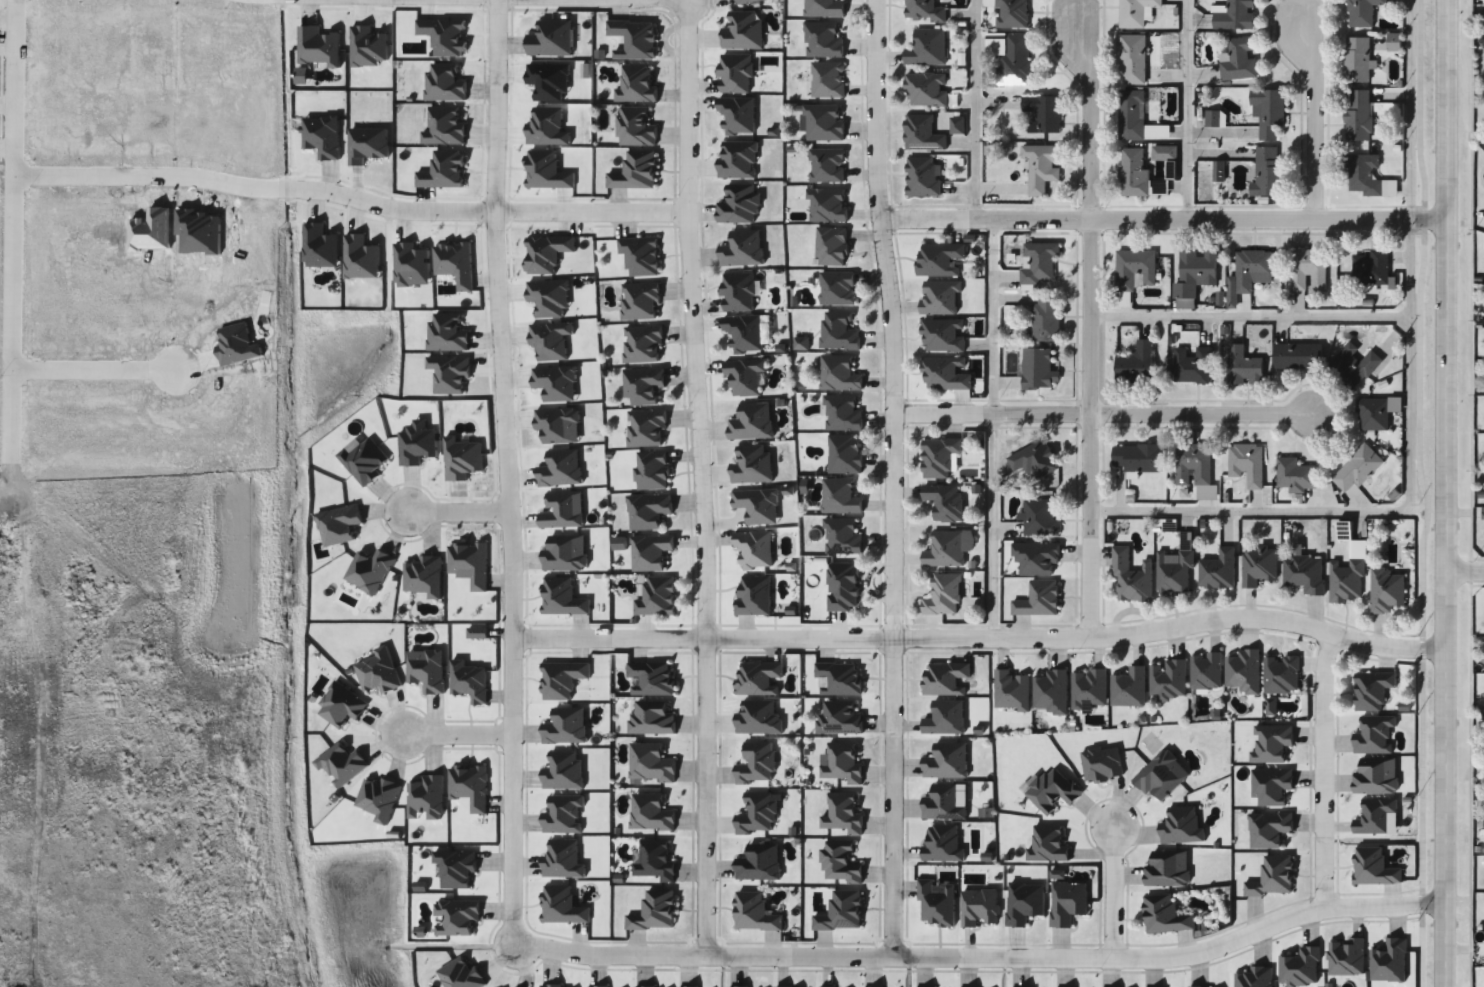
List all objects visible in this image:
building: (746, 1)
building: (824, 8)
building: (923, 10)
building: (1136, 12)
building: (1362, 12)
building: (1011, 13)
building: (1234, 14)
road: (494, 23)
building: (743, 31)
building: (551, 38)
building: (633, 39)
building: (822, 40)
building: (926, 47)
building: (1132, 59)
building: (1356, 59)
building: (1015, 60)
building: (1238, 60)
building: (736, 74)
building: (828, 79)
building: (637, 85)
building: (925, 89)
road: (1188, 110)
road: (973, 111)
building: (1268, 111)
building: (1042, 114)
building: (1357, 115)
road: (1088, 116)
building: (737, 117)
building: (1136, 118)
building: (1213, 119)
road: (1312, 119)
building: (825, 122)
building: (636, 128)
building: (922, 133)
building: (737, 159)
building: (826, 165)
building: (1041, 166)
building: (635, 171)
building: (1267, 171)
building: (1138, 175)
building: (923, 177)
building: (1367, 177)
road: (307, 184)
building: (740, 204)
building: (828, 205)
road: (641, 211)
road: (12, 221)
road: (1164, 221)
building: (832, 246)
building: (742, 249)
road: (498, 252)
building: (640, 254)
building: (940, 259)
building: (1039, 261)
building: (1134, 268)
building: (1371, 268)
building: (1309, 269)
building: (1195, 271)
building: (1249, 272)
building: (837, 288)
building: (739, 292)
building: (939, 297)
building: (641, 300)
road: (1248, 314)
building: (1046, 317)
road: (1087, 318)
building: (838, 331)
building: (744, 332)
building: (943, 335)
building: (643, 344)
building: (1296, 357)
building: (1244, 363)
building: (1352, 363)
road: (88, 364)
building: (1137, 364)
building: (1191, 364)
building: (1037, 370)
building: (839, 374)
building: (946, 374)
building: (744, 376)
building: (643, 385)
building: (842, 414)
building: (1372, 414)
road: (990, 415)
road: (1198, 416)
building: (751, 422)
building: (647, 428)
road: (995, 432)
building: (845, 454)
building: (939, 457)
building: (1034, 459)
building: (1136, 460)
building: (752, 464)
building: (1193, 465)
building: (1245, 467)
building: (1359, 468)
building: (652, 469)
building: (1297, 474)
road: (693, 476)
road: (892, 477)
road: (1447, 493)
building: (840, 497)
road: (460, 500)
building: (944, 500)
building: (757, 504)
building: (648, 510)
road: (1392, 511)
building: (1039, 518)
road: (1087, 527)
building: (841, 536)
building: (947, 548)
building: (754, 549)
building: (651, 551)
building: (1037, 558)
building: (1258, 565)
building: (1218, 571)
building: (1174, 573)
building: (1303, 573)
road: (1465, 573)
building: (1130, 576)
building: (1346, 581)
building: (843, 586)
building: (1386, 590)
building: (754, 595)
building: (944, 595)
building: (657, 596)
building: (1039, 599)
road: (560, 636)
road: (1032, 642)
building: (1205, 671)
building: (1244, 671)
building: (1281, 675)
building: (652, 677)
building: (758, 678)
building: (840, 678)
building: (945, 678)
building: (1168, 680)
building: (1128, 688)
building: (1089, 689)
building: (1372, 689)
building: (1051, 691)
road: (507, 702)
road: (463, 714)
building: (651, 718)
building: (758, 718)
building: (839, 718)
building: (945, 718)
building: (946, 760)
building: (650, 762)
building: (756, 763)
road: (1319, 767)
building: (1162, 774)
building: (1375, 777)
building: (1052, 790)
building: (943, 803)
building: (651, 813)
building: (843, 813)
building: (757, 814)
building: (1182, 826)
building: (943, 844)
building: (1048, 844)
building: (655, 861)
building: (759, 863)
building: (840, 863)
building: (1168, 869)
road: (1113, 890)
building: (1024, 902)
building: (937, 903)
building: (979, 907)
building: (654, 912)
building: (754, 912)
building: (842, 912)
building: (1165, 915)
road: (566, 950)
road: (1036, 956)
building: (644, 986)
building: (687, 986)

